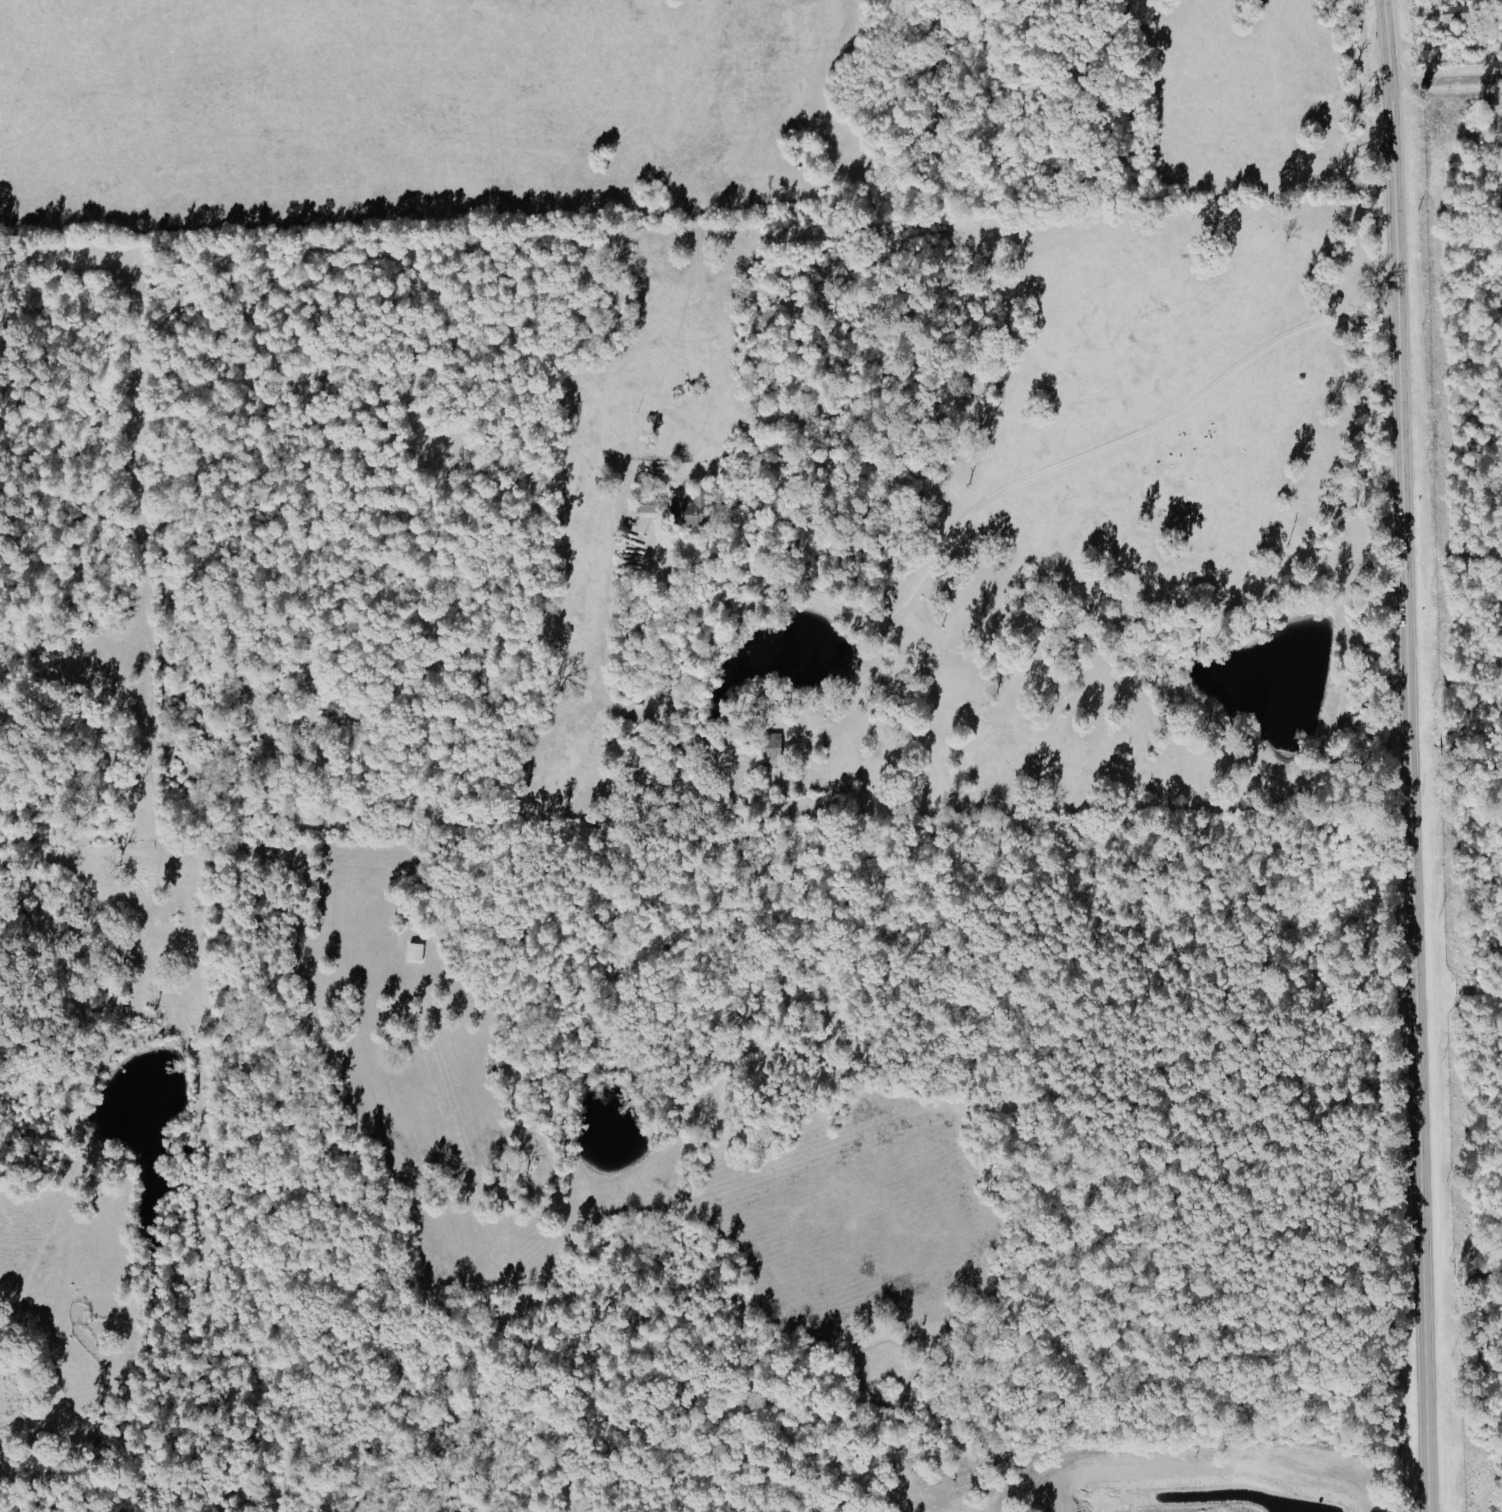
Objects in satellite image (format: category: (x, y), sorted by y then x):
building: (1452, 13)
road: (1021, 19)
road: (1445, 80)
road: (1007, 486)
building: (691, 507)
road: (1402, 755)
building: (418, 953)

